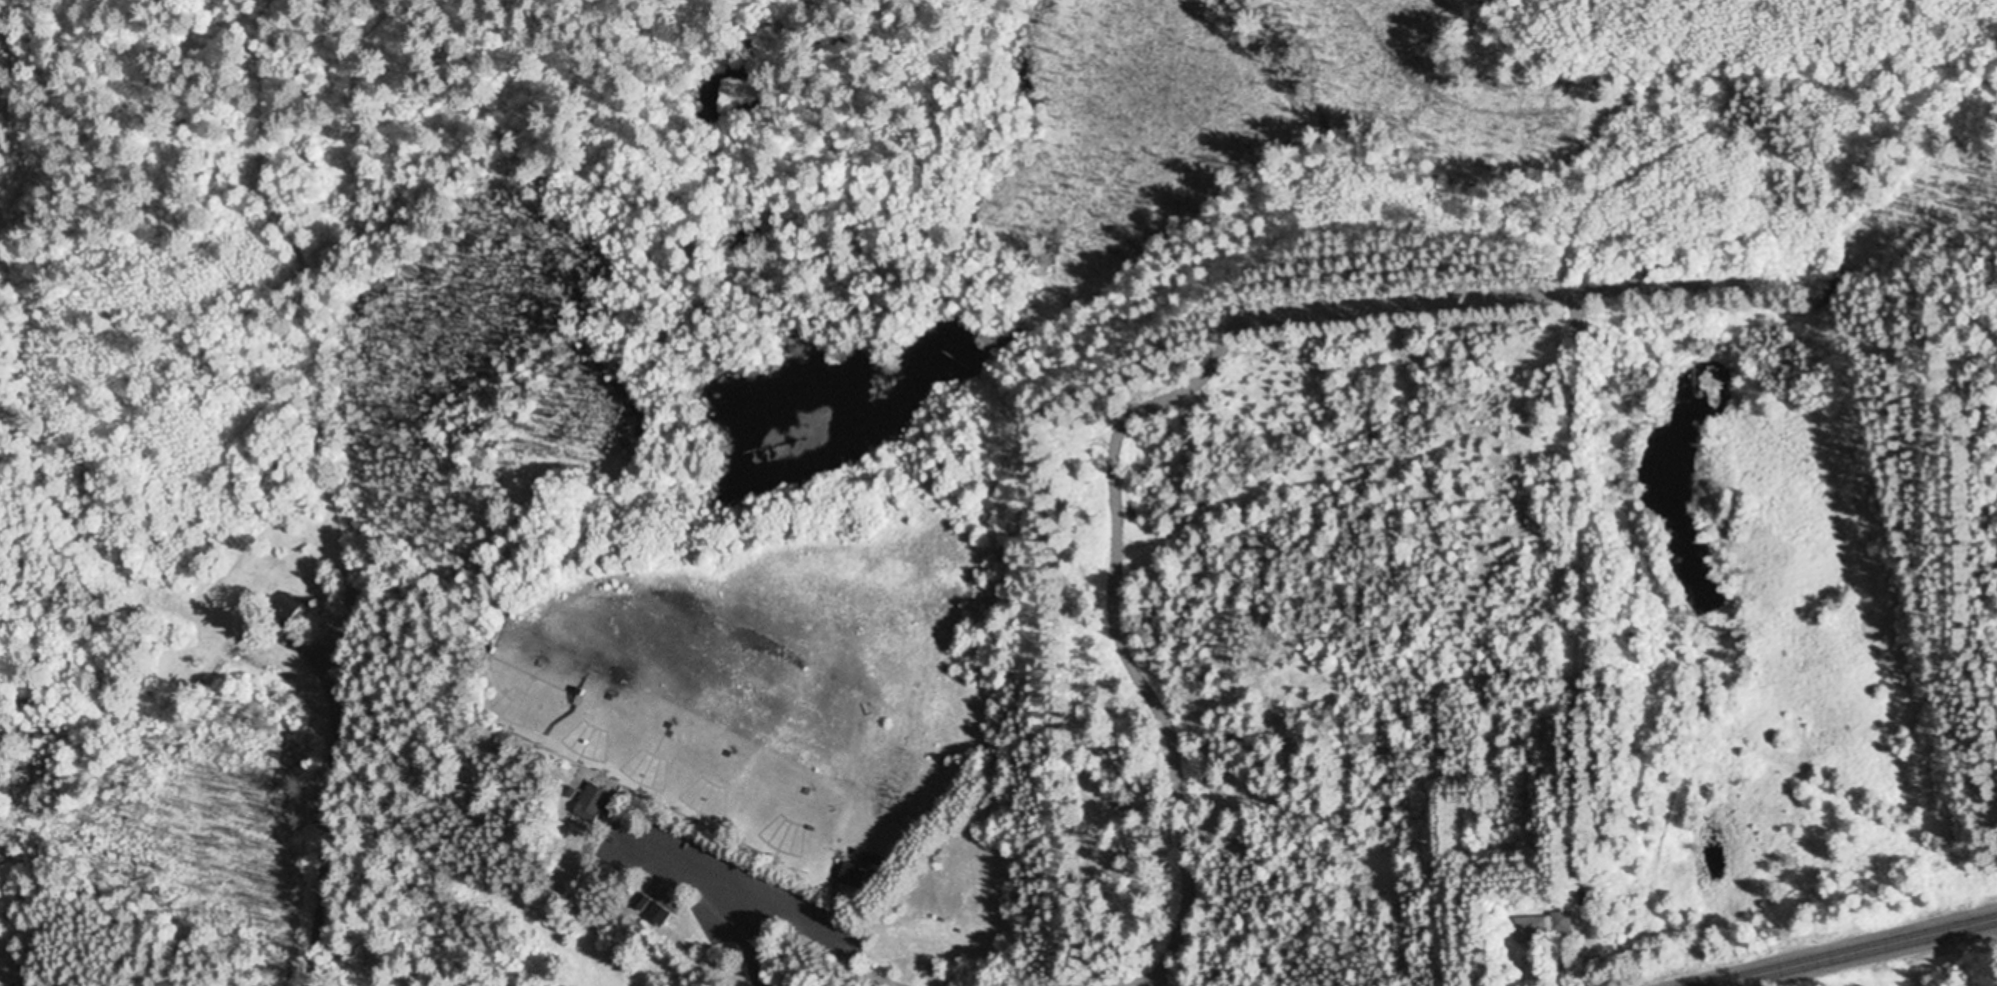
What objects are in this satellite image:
road: (355, 490)
building: (280, 611)
building: (240, 662)
building: (590, 804)
building: (859, 874)
building: (658, 913)
building: (1541, 929)
road: (1857, 953)

